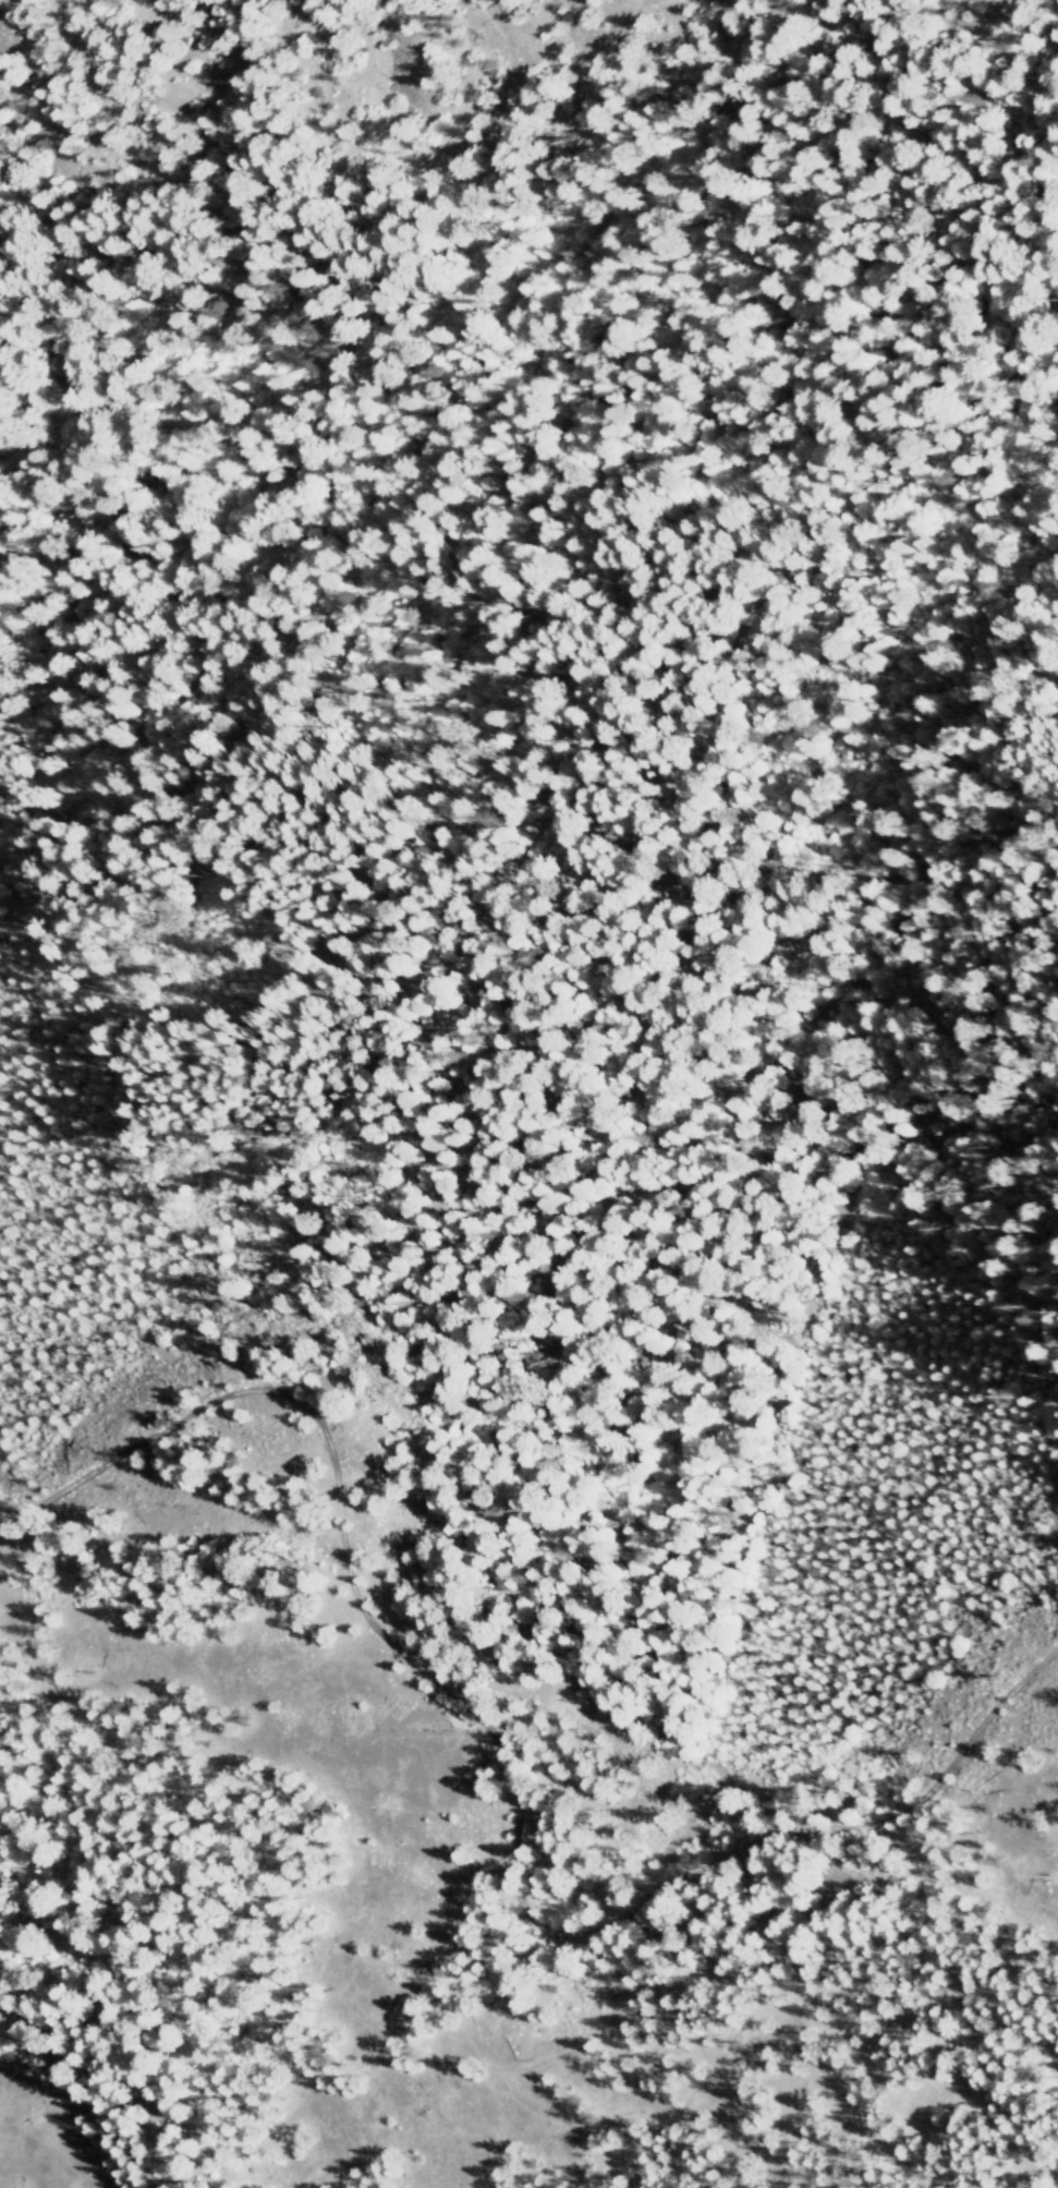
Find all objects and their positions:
road: (498, 1788)

